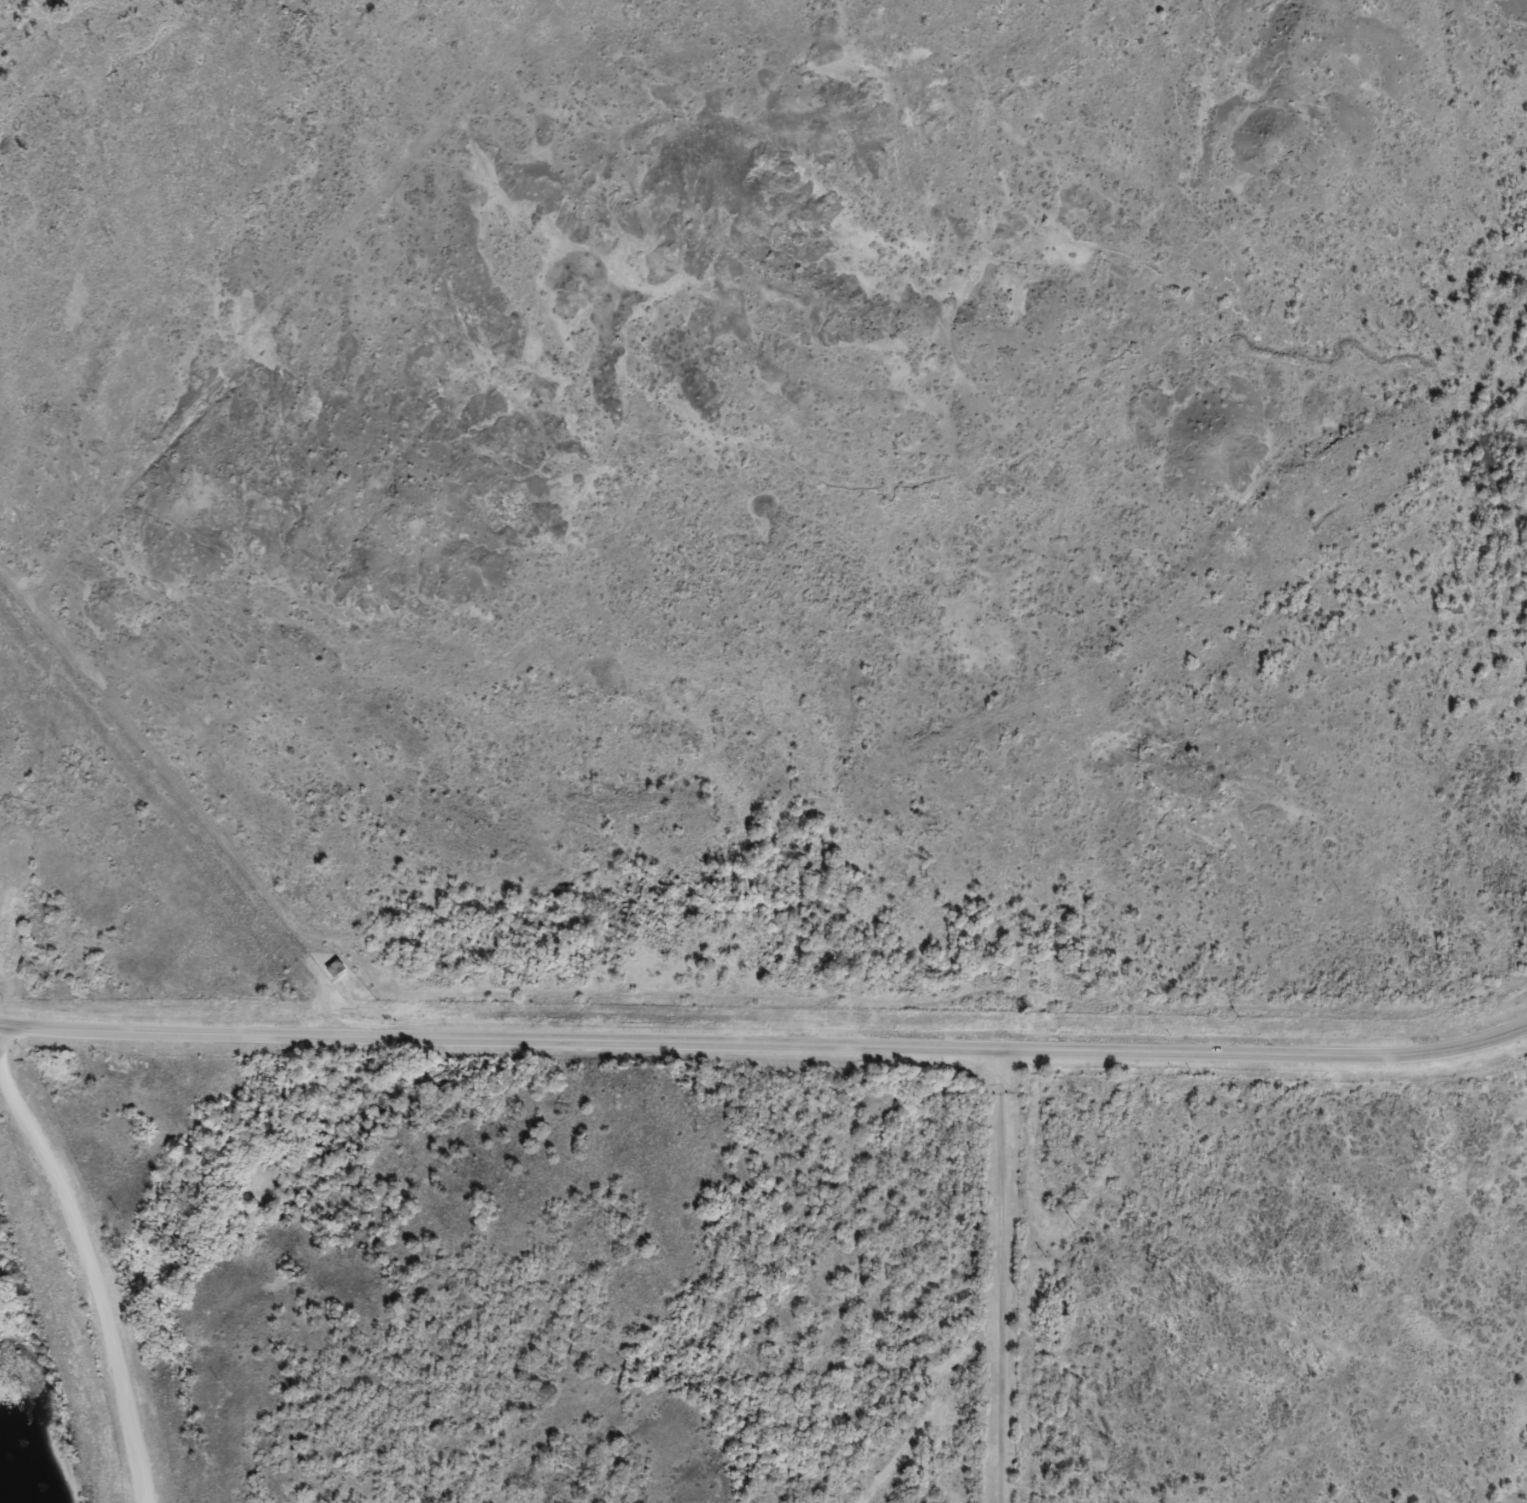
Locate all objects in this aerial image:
road: (176, 809)
building: (333, 967)
road: (765, 1045)
road: (93, 1269)
road: (1011, 1277)
road: (1233, 1284)

